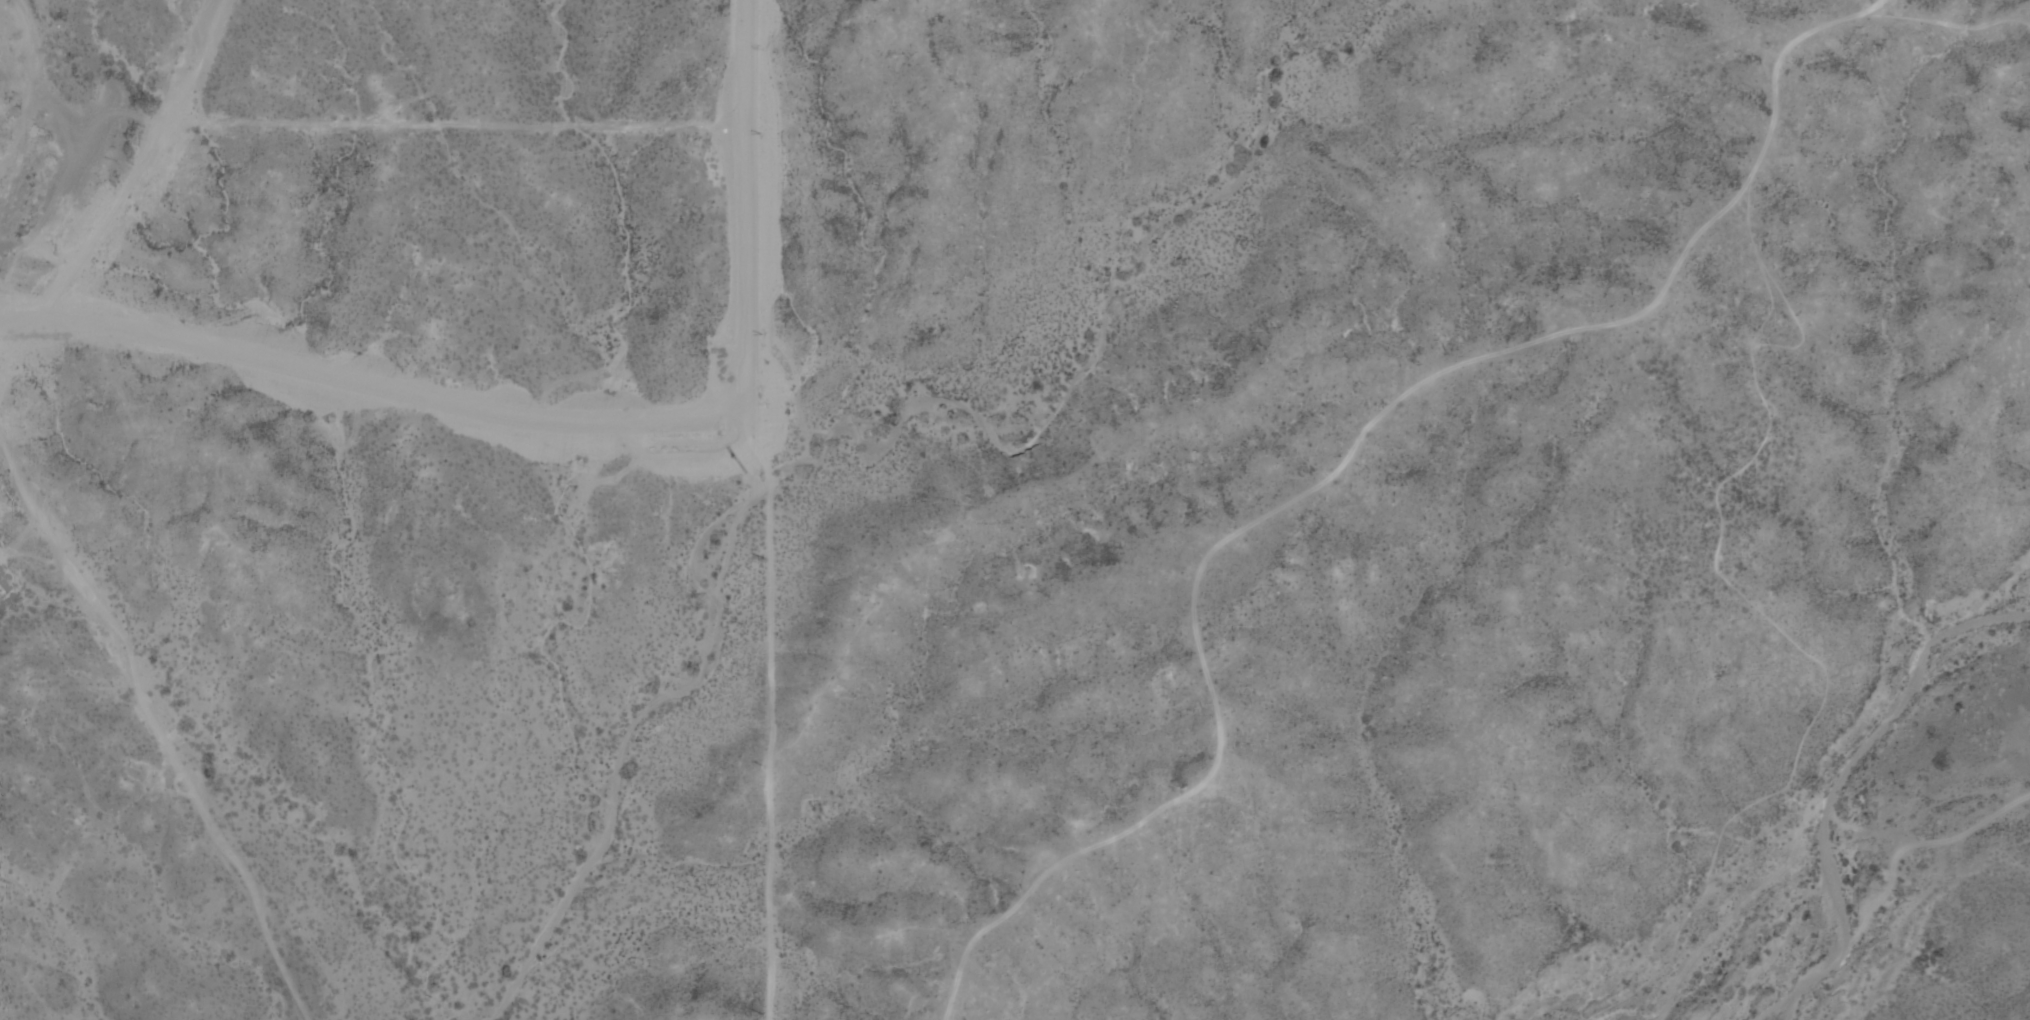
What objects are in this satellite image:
road: (129, 174)
road: (399, 401)
road: (767, 510)

